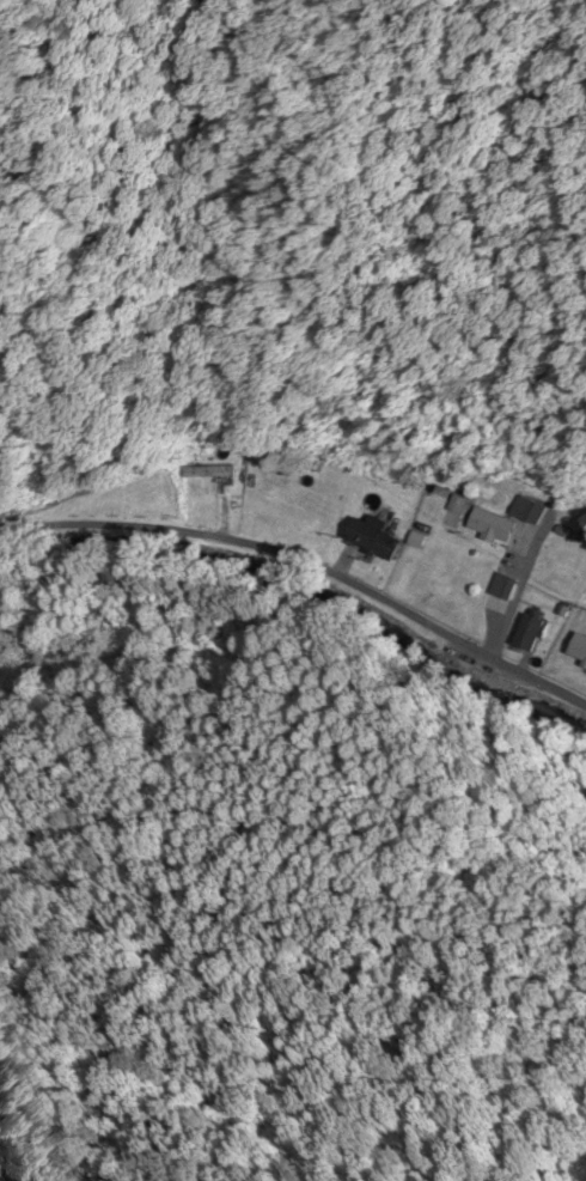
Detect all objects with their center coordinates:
building: (307, 463)
building: (210, 474)
building: (376, 540)
road: (309, 562)
building: (503, 589)
building: (532, 633)
building: (585, 793)

